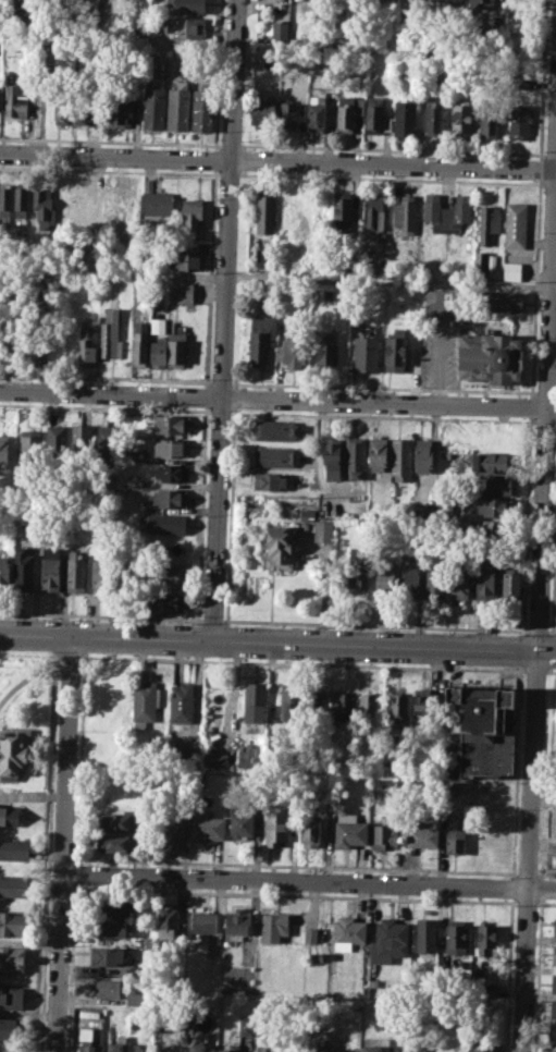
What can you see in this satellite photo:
building: (453, 1)
building: (479, 4)
building: (187, 5)
building: (187, 26)
building: (279, 30)
building: (519, 83)
building: (16, 99)
building: (153, 105)
building: (177, 106)
building: (202, 106)
building: (62, 108)
building: (262, 109)
building: (83, 110)
building: (122, 110)
building: (347, 110)
building: (374, 114)
building: (287, 115)
building: (405, 115)
building: (316, 117)
building: (432, 118)
building: (461, 118)
building: (520, 119)
building: (487, 121)
road: (277, 160)
building: (5, 199)
building: (82, 199)
building: (22, 201)
building: (157, 203)
building: (44, 204)
building: (114, 205)
building: (283, 207)
building: (341, 210)
building: (193, 211)
building: (447, 212)
building: (264, 213)
building: (372, 213)
building: (404, 213)
building: (489, 222)
building: (515, 223)
building: (372, 258)
building: (188, 259)
building: (483, 260)
building: (511, 270)
road: (113, 272)
road: (391, 280)
building: (183, 291)
building: (504, 301)
road: (224, 320)
building: (157, 325)
building: (111, 334)
building: (261, 335)
building: (140, 343)
building: (86, 344)
building: (11, 345)
building: (36, 345)
building: (176, 348)
parking lot: (438, 348)
building: (326, 350)
building: (365, 350)
building: (395, 350)
building: (158, 352)
building: (292, 352)
building: (490, 354)
road: (277, 399)
building: (172, 424)
building: (275, 429)
building: (82, 439)
building: (108, 439)
building: (57, 441)
building: (172, 447)
building: (30, 448)
building: (4, 451)
building: (378, 453)
building: (423, 454)
building: (135, 455)
building: (333, 455)
building: (273, 456)
building: (356, 456)
building: (401, 458)
building: (490, 461)
building: (171, 472)
building: (135, 480)
building: (269, 480)
building: (495, 485)
building: (171, 497)
building: (497, 506)
building: (428, 510)
building: (306, 514)
building: (165, 523)
road: (548, 526)
building: (323, 530)
building: (480, 530)
building: (279, 547)
building: (23, 568)
building: (358, 568)
building: (4, 571)
building: (49, 572)
building: (76, 572)
building: (164, 574)
building: (100, 575)
building: (385, 577)
building: (459, 580)
building: (409, 582)
building: (434, 582)
building: (485, 583)
building: (510, 587)
building: (165, 601)
road: (539, 611)
road: (101, 616)
road: (212, 620)
building: (555, 622)
road: (375, 625)
road: (538, 631)
road: (552, 631)
road: (277, 645)
road: (27, 653)
road: (66, 657)
road: (299, 662)
road: (534, 670)
road: (551, 671)
road: (30, 675)
building: (254, 701)
building: (289, 701)
building: (181, 702)
building: (367, 702)
building: (143, 704)
building: (425, 704)
building: (314, 706)
building: (342, 707)
building: (398, 708)
building: (484, 730)
building: (14, 749)
building: (246, 750)
building: (452, 751)
building: (214, 759)
road: (33, 794)
building: (9, 816)
building: (115, 821)
building: (239, 822)
building: (276, 825)
building: (208, 828)
building: (348, 829)
building: (310, 832)
building: (455, 834)
building: (171, 835)
building: (381, 835)
building: (422, 836)
building: (114, 843)
road: (64, 845)
building: (15, 848)
road: (310, 883)
building: (13, 885)
building: (113, 905)
building: (166, 921)
building: (203, 921)
building: (237, 921)
building: (13, 922)
building: (273, 926)
building: (110, 927)
building: (555, 927)
building: (348, 930)
building: (310, 934)
building: (425, 934)
building: (455, 935)
building: (391, 937)
building: (486, 939)
building: (106, 954)
building: (554, 954)
building: (316, 956)
building: (11, 958)
building: (554, 981)
building: (120, 990)
building: (10, 996)
building: (553, 1008)
building: (186, 1020)
building: (246, 1024)
building: (9, 1028)
building: (553, 1030)
building: (86, 1040)
building: (118, 1044)
building: (482, 1045)
building: (139, 1047)
building: (197, 1047)
building: (170, 1048)
building: (230, 1048)
building: (325, 1048)
building: (370, 1048)
building: (261, 1049)
building: (418, 1050)

